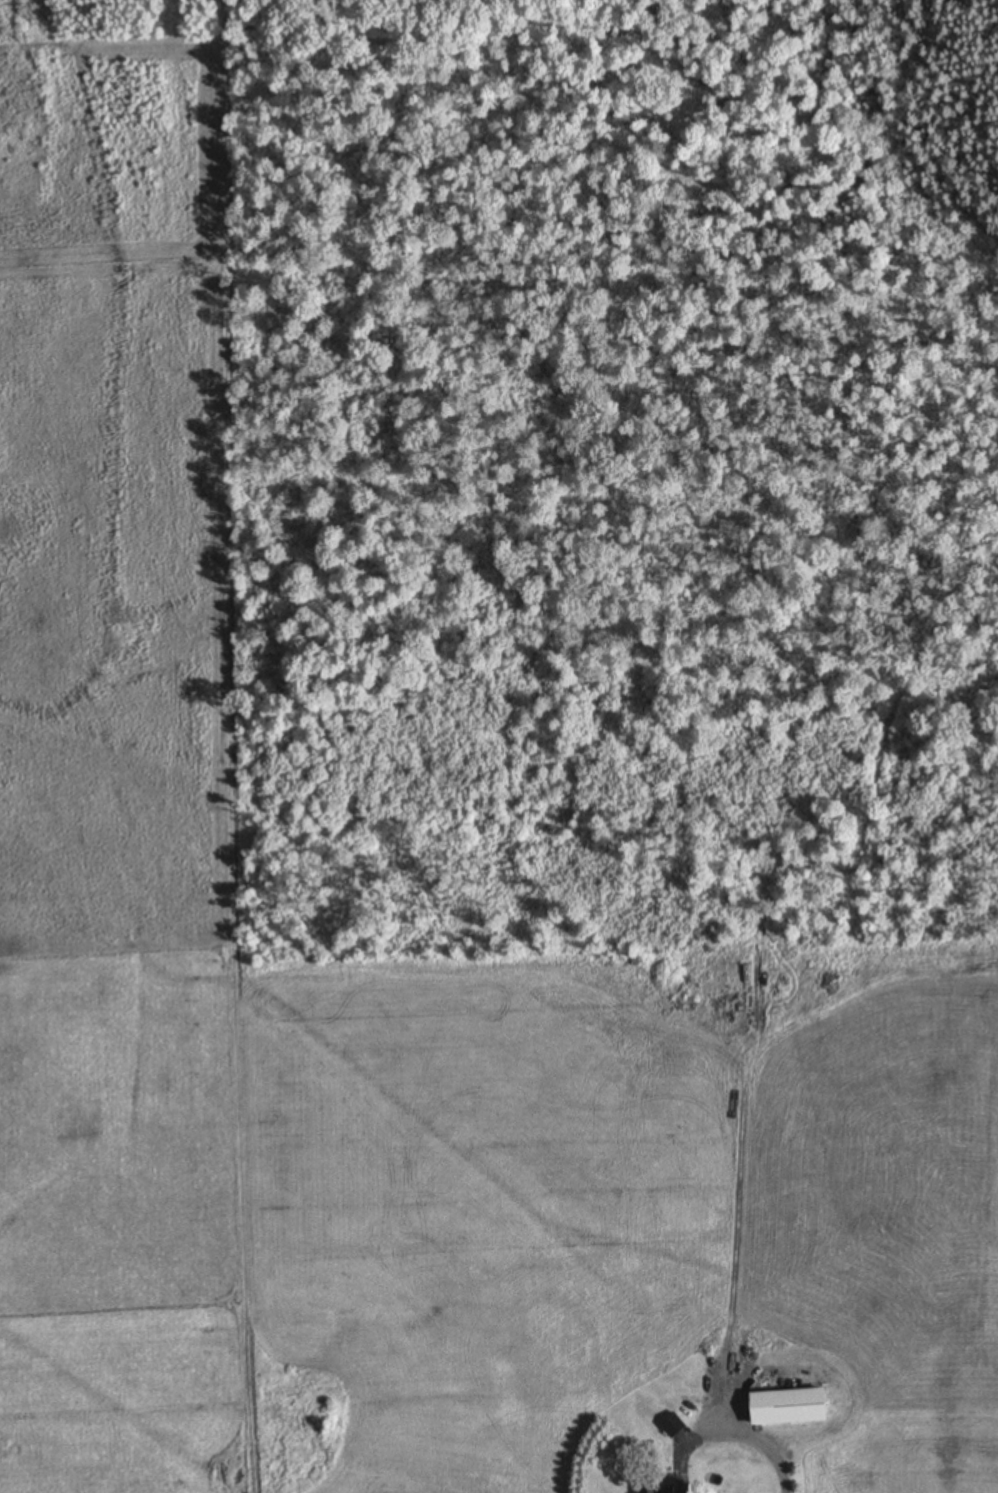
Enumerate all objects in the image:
building: (785, 1408)
building: (659, 1490)

